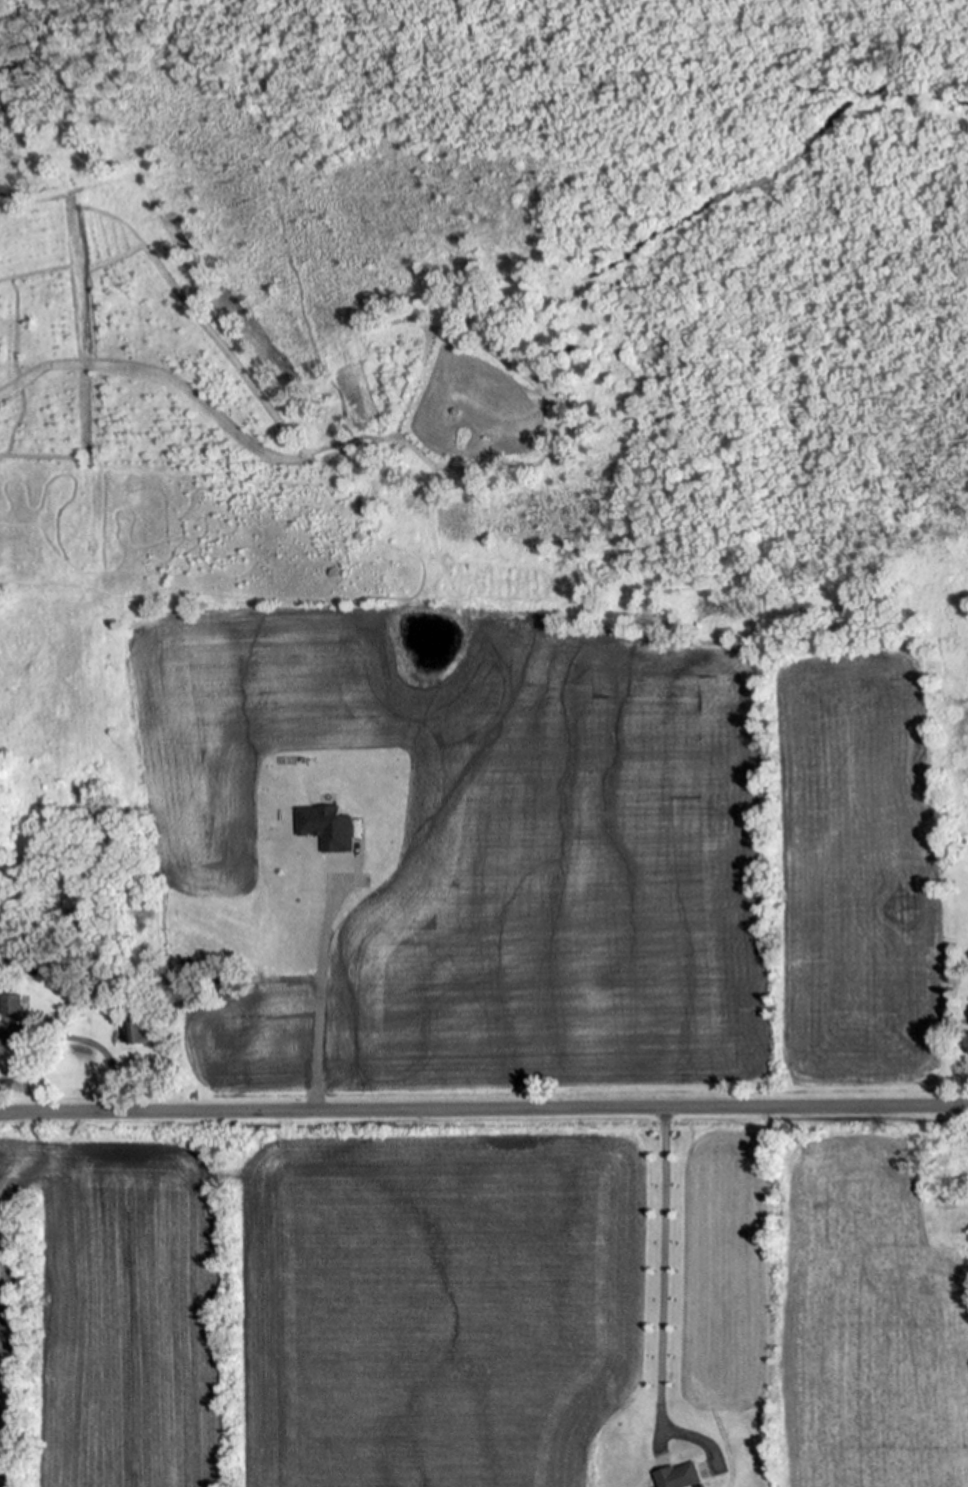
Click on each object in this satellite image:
building: (884, 91)
building: (654, 204)
building: (351, 438)
road: (311, 988)
building: (85, 1000)
building: (192, 1004)
building: (10, 1005)
building: (132, 1017)
building: (55, 1021)
building: (967, 1029)
road: (83, 1036)
building: (967, 1043)
road: (484, 1111)
road: (655, 1273)
building: (681, 1476)
building: (698, 1486)

